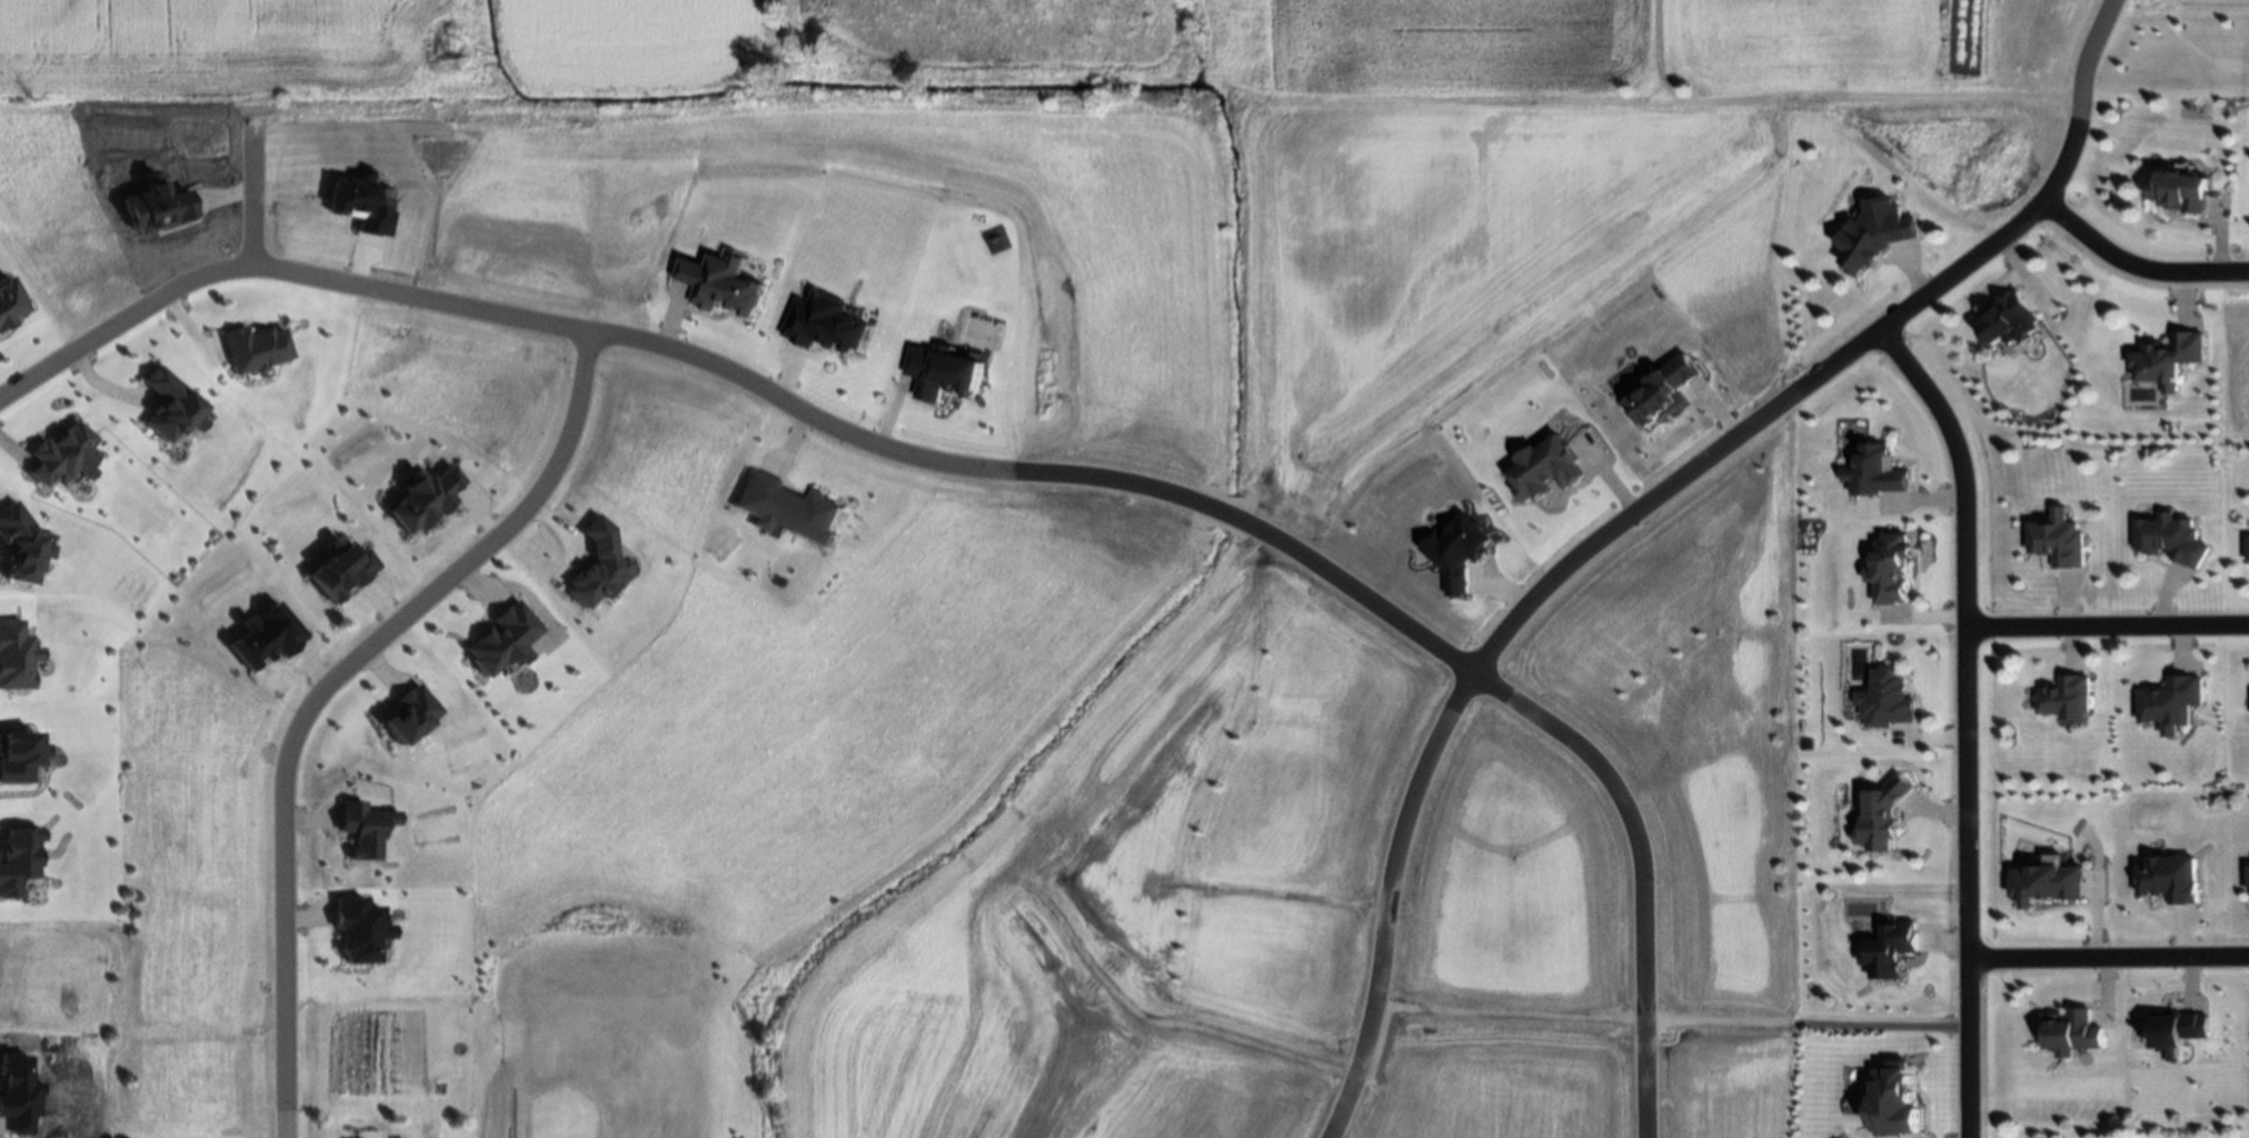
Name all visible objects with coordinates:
crop: (241, 51)
road: (1827, 93)
road: (256, 188)
building: (2180, 192)
building: (364, 203)
building: (158, 207)
building: (1874, 234)
road: (2133, 269)
building: (722, 284)
road: (424, 299)
building: (10, 303)
road: (121, 320)
building: (2009, 322)
building: (825, 325)
building: (253, 349)
building: (2167, 360)
road: (1835, 366)
building: (941, 373)
building: (1663, 392)
building: (171, 408)
road: (896, 450)
building: (63, 456)
building: (1546, 470)
building: (1877, 472)
building: (427, 500)
building: (788, 509)
road: (1241, 529)
building: (2170, 539)
building: (2057, 540)
building: (19, 546)
building: (2248, 550)
building: (1459, 553)
building: (598, 566)
building: (1890, 569)
building: (342, 570)
road: (1366, 605)
road: (404, 618)
road: (2106, 628)
building: (265, 637)
building: (502, 639)
building: (16, 657)
building: (2066, 699)
building: (1885, 700)
building: (2170, 703)
building: (409, 715)
road: (1963, 725)
building: (19, 756)
building: (1881, 816)
building: (365, 829)
building: (19, 859)
road: (1634, 867)
building: (2170, 879)
building: (2047, 882)
road: (1387, 900)
building: (360, 929)
building: (1891, 950)
road: (2107, 959)
building: (2178, 1031)
building: (2070, 1032)
road: (289, 1034)
building: (1893, 1100)

